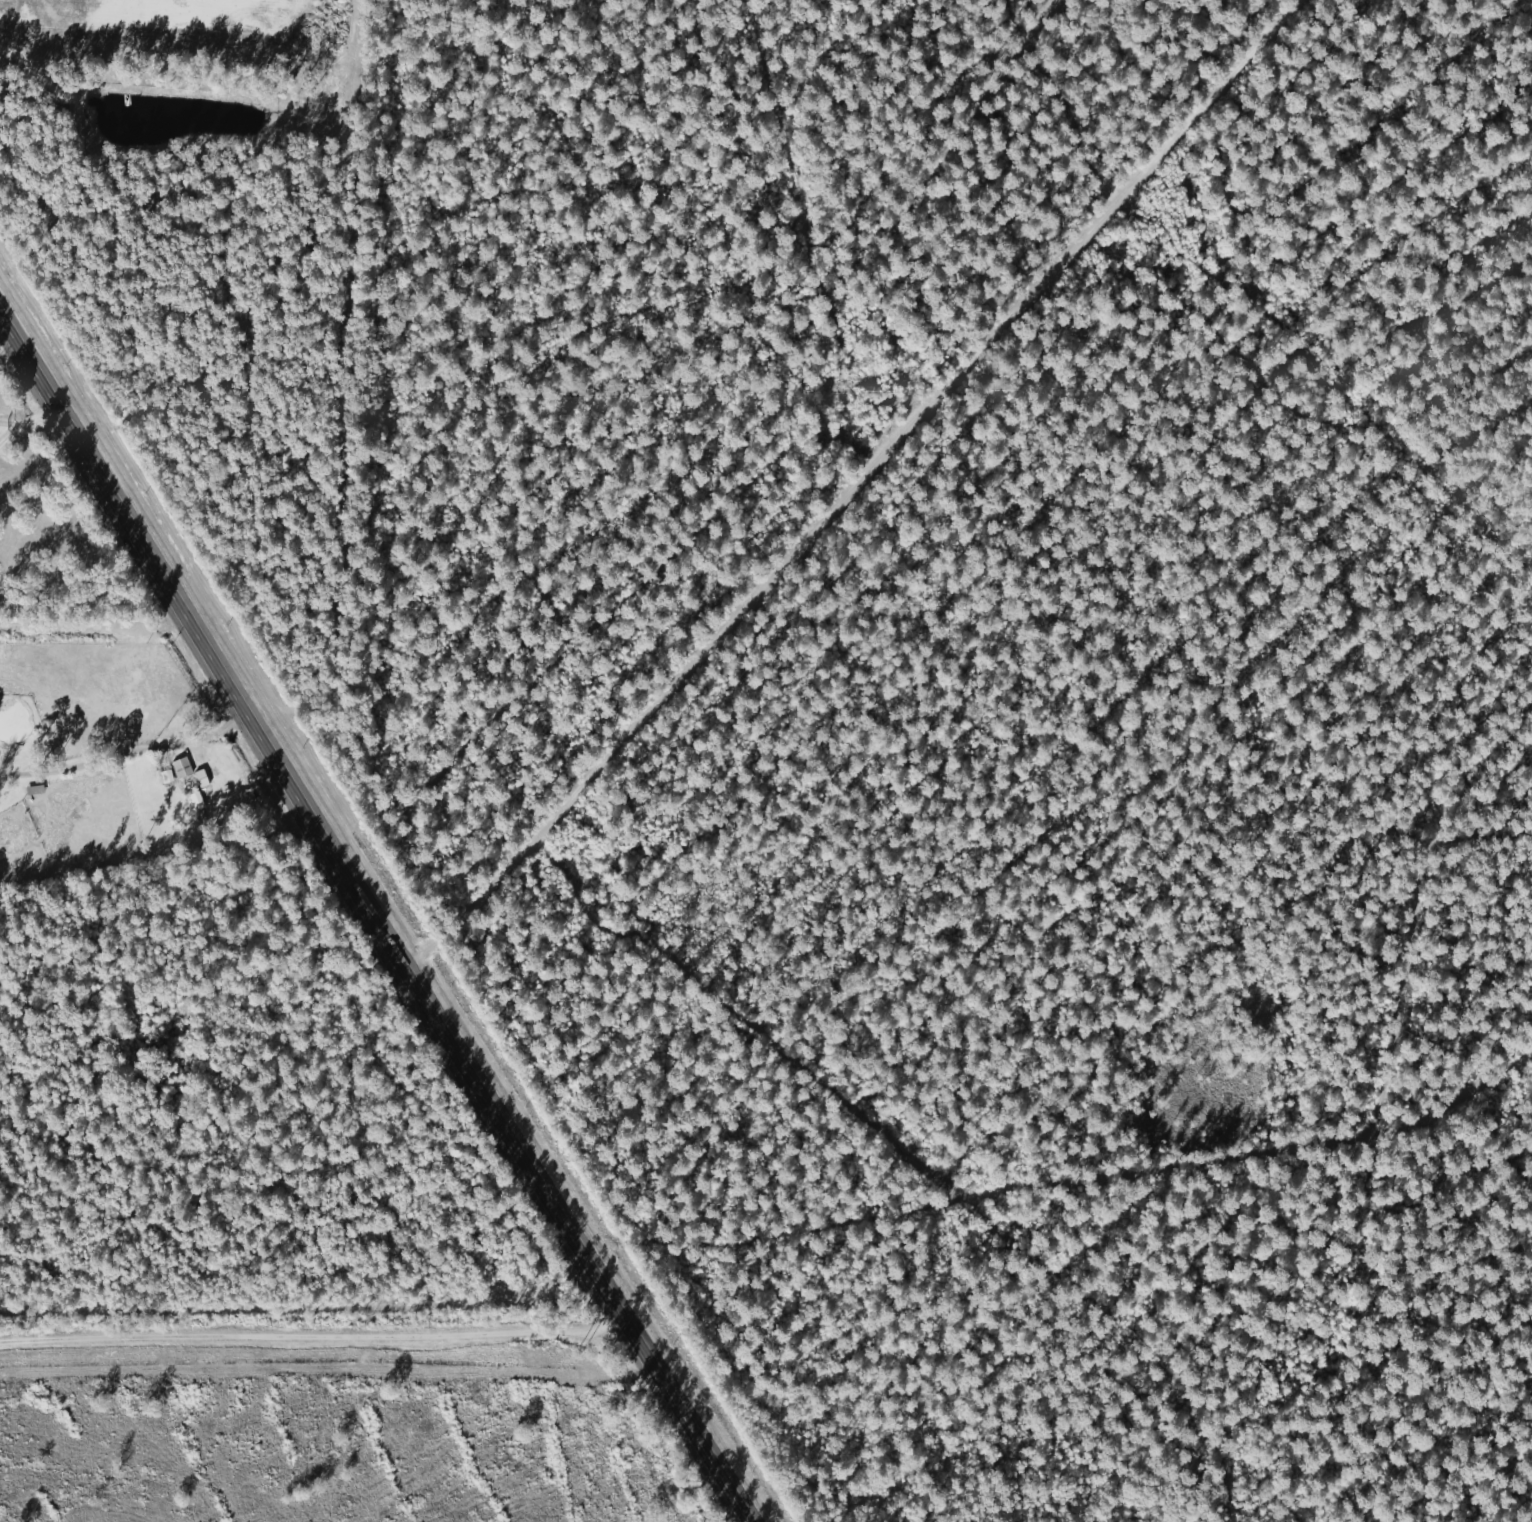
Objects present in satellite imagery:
road: (45, 413)
road: (18, 418)
road: (17, 429)
road: (850, 488)
building: (182, 768)
road: (129, 774)
building: (202, 779)
road: (374, 924)

